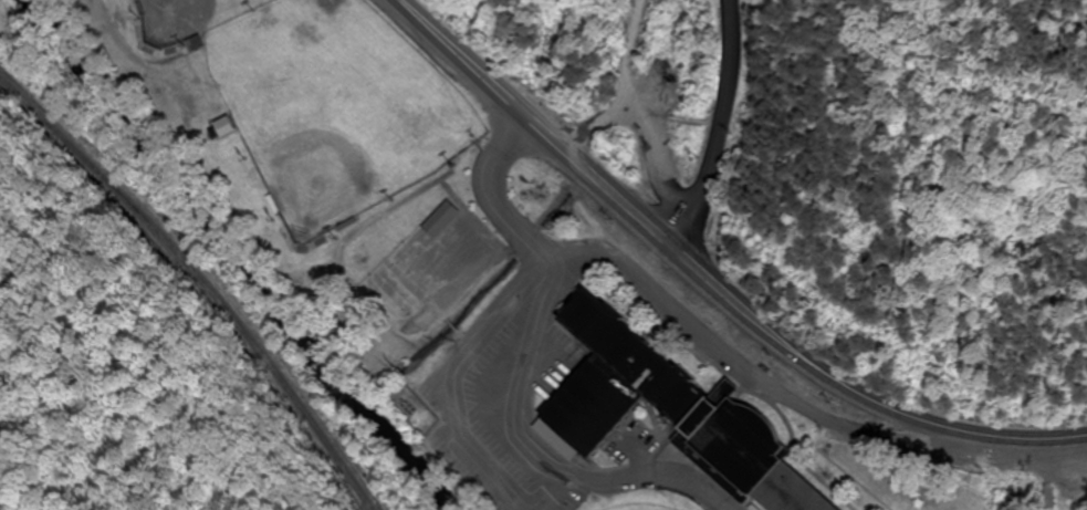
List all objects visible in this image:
park: (188, 17)
park: (335, 106)
building: (230, 126)
road: (715, 129)
building: (443, 219)
river: (238, 256)
railway: (196, 280)
road: (711, 283)
road: (522, 368)
building: (677, 410)
park: (633, 509)

